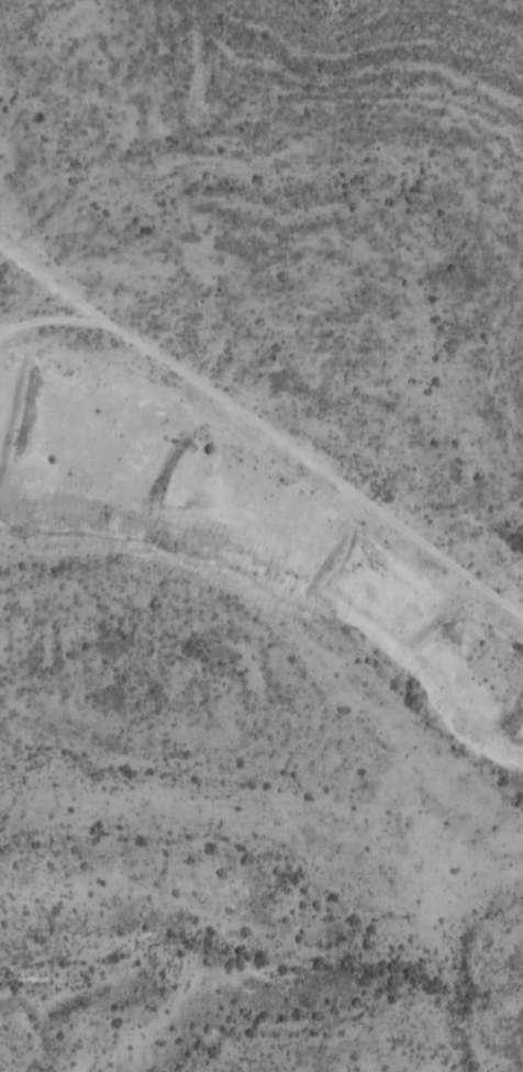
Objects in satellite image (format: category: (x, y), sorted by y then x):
road: (264, 427)
park: (258, 624)

